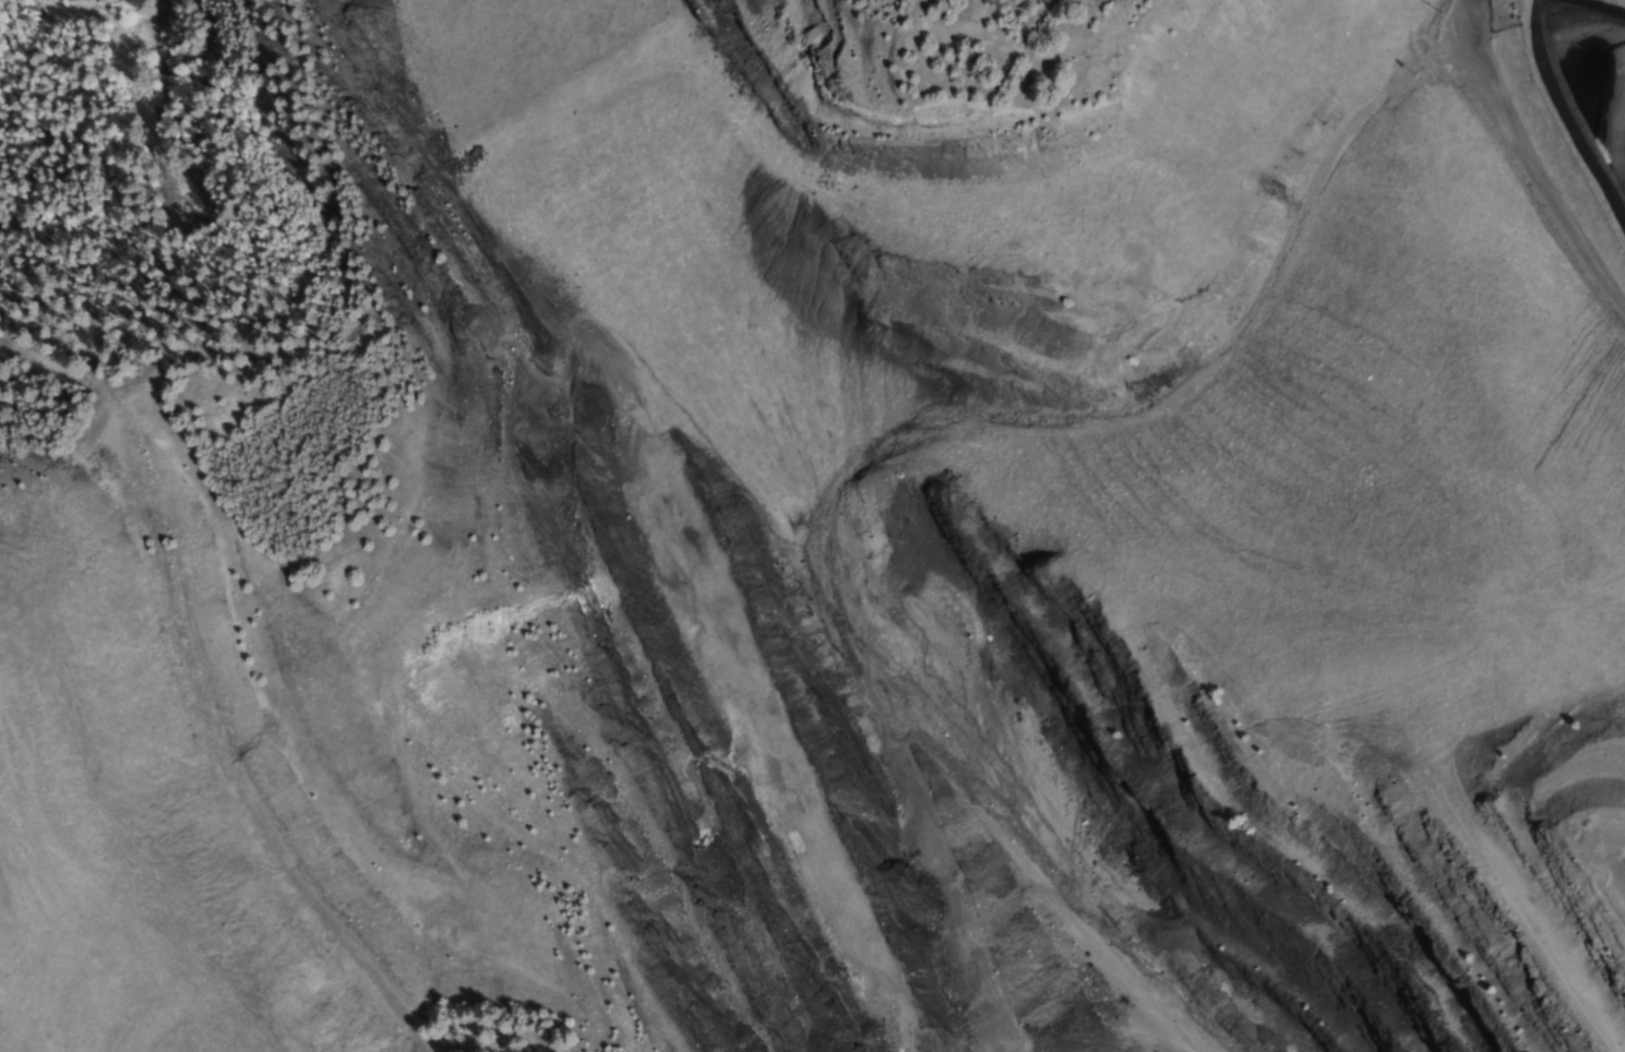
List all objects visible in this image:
quarry: (1160, 648)

